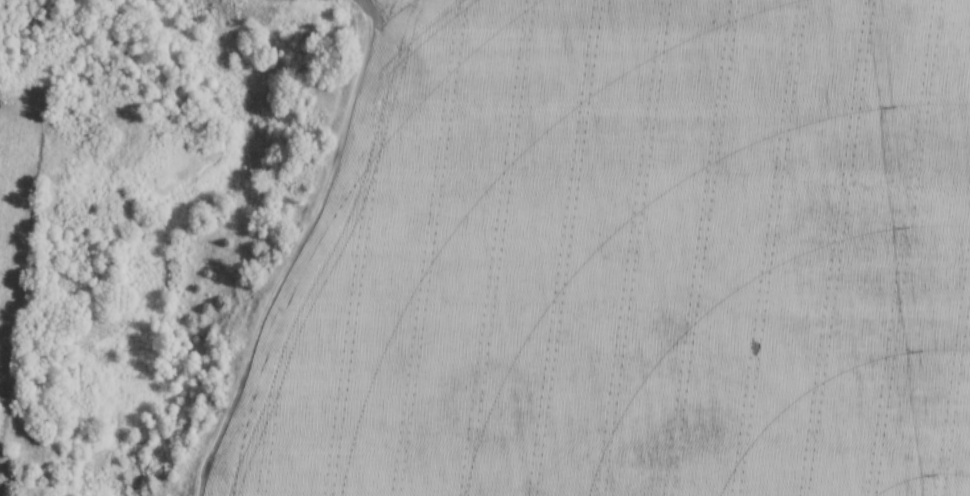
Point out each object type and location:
crop: (628, 259)

